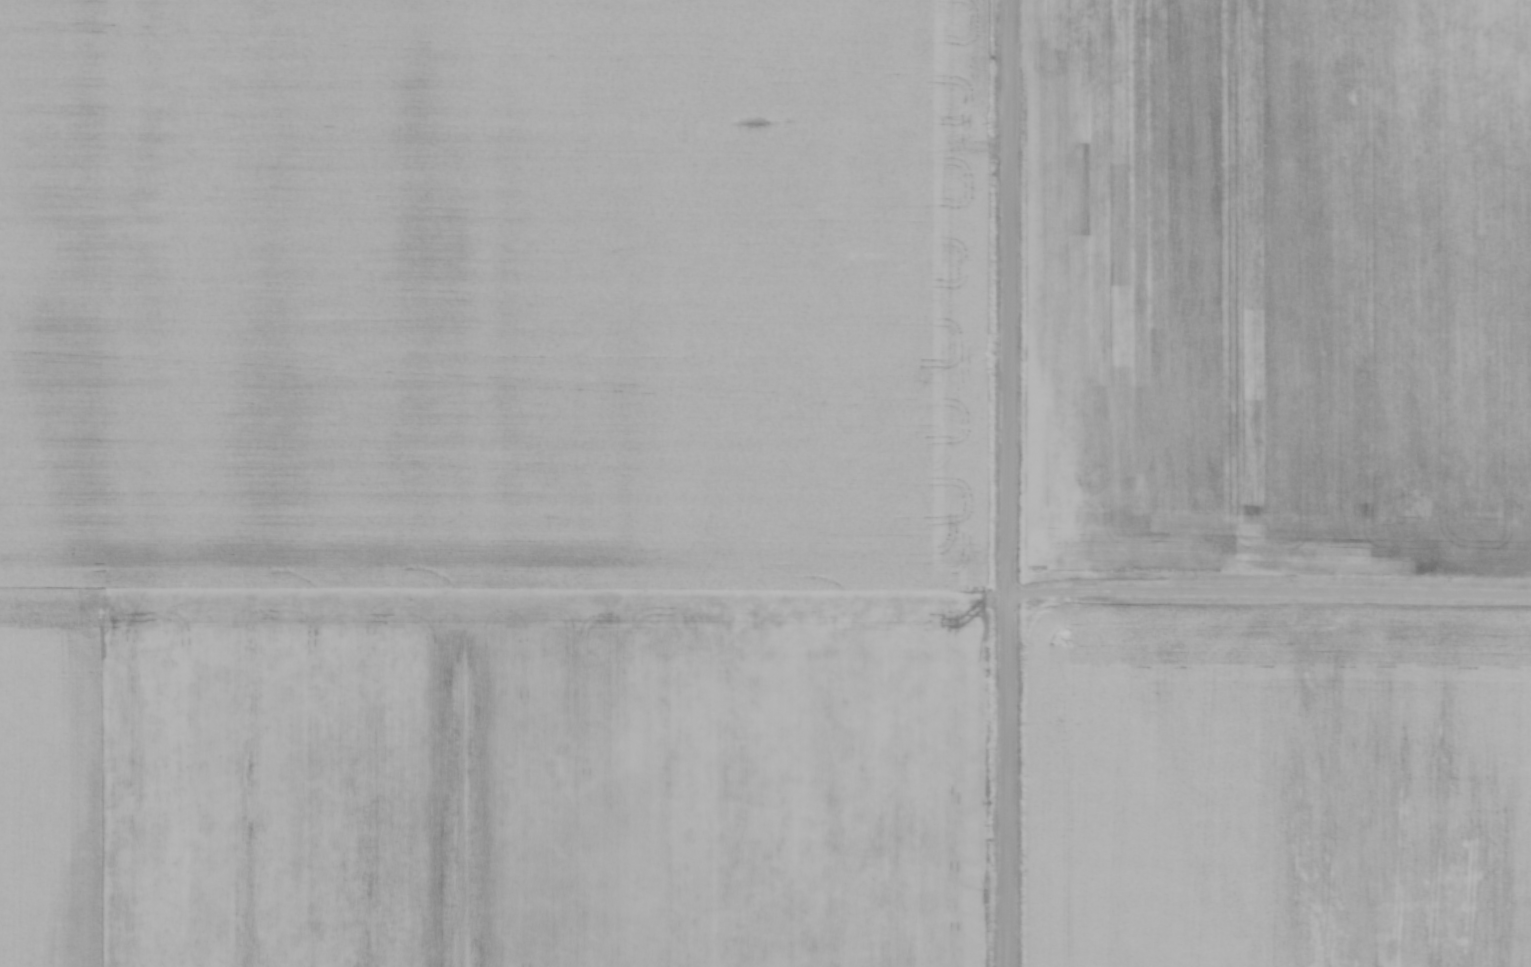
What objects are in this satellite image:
road: (1007, 483)
road: (1269, 598)

